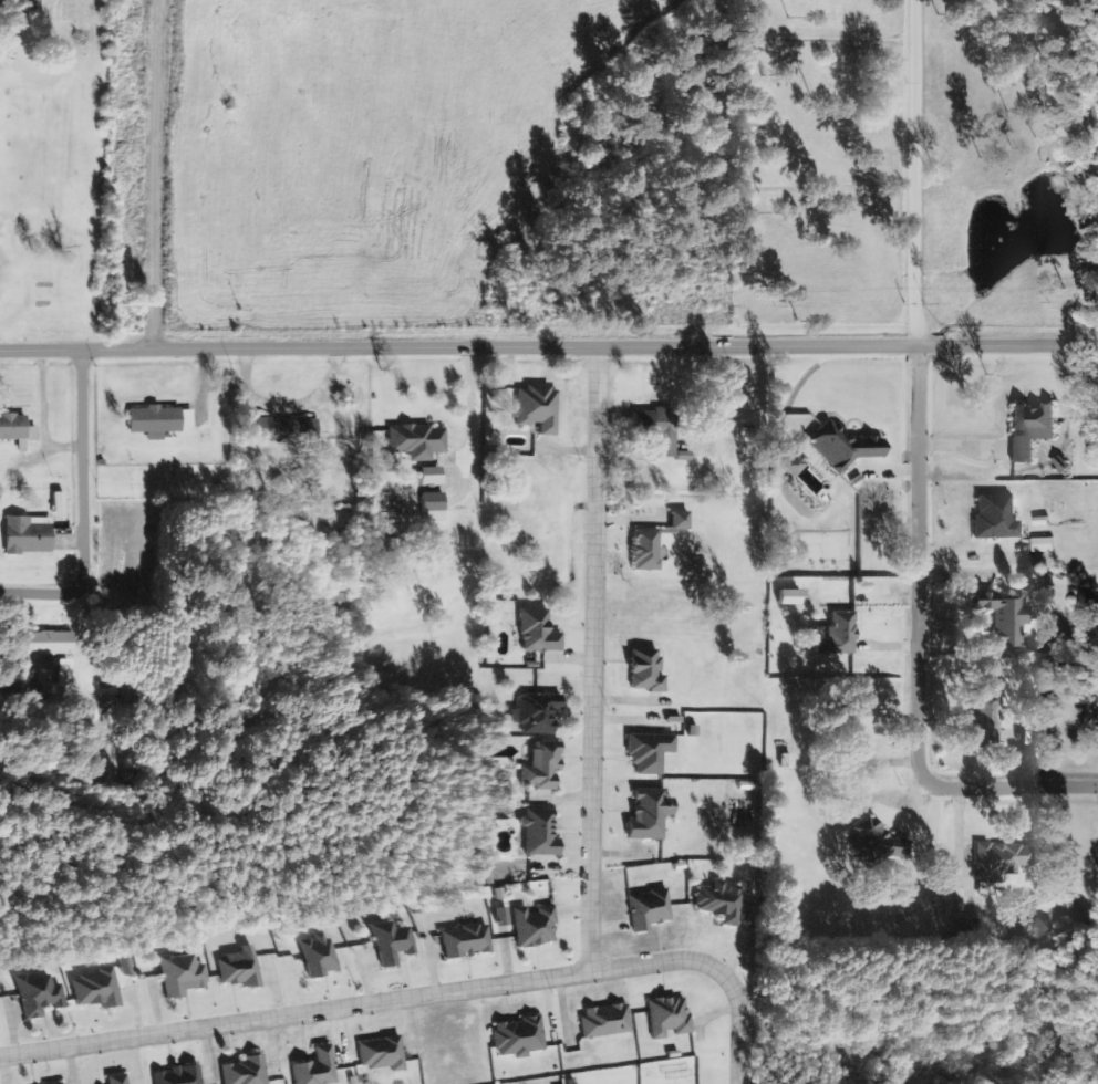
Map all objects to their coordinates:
road: (921, 175)
road: (549, 352)
building: (539, 409)
building: (162, 421)
building: (17, 428)
building: (279, 429)
building: (660, 429)
building: (1033, 430)
building: (418, 441)
building: (846, 449)
building: (797, 465)
building: (60, 507)
road: (83, 507)
building: (434, 508)
building: (681, 522)
building: (28, 538)
building: (1044, 546)
building: (648, 551)
building: (790, 598)
building: (1006, 621)
building: (539, 632)
building: (840, 634)
building: (49, 644)
road: (912, 659)
road: (592, 660)
building: (648, 670)
building: (66, 674)
building: (113, 705)
building: (540, 712)
building: (651, 752)
building: (787, 760)
building: (545, 765)
building: (651, 814)
building: (541, 833)
building: (879, 845)
building: (1003, 859)
building: (721, 901)
building: (650, 909)
building: (504, 917)
building: (536, 927)
building: (467, 941)
building: (322, 956)
building: (241, 968)
building: (184, 976)
building: (97, 989)
road: (422, 992)
building: (41, 996)
building: (669, 1017)
building: (607, 1021)
building: (520, 1038)
building: (383, 1054)
building: (318, 1069)
building: (247, 1071)
building: (180, 1075)
building: (117, 1080)
building: (60, 1083)

